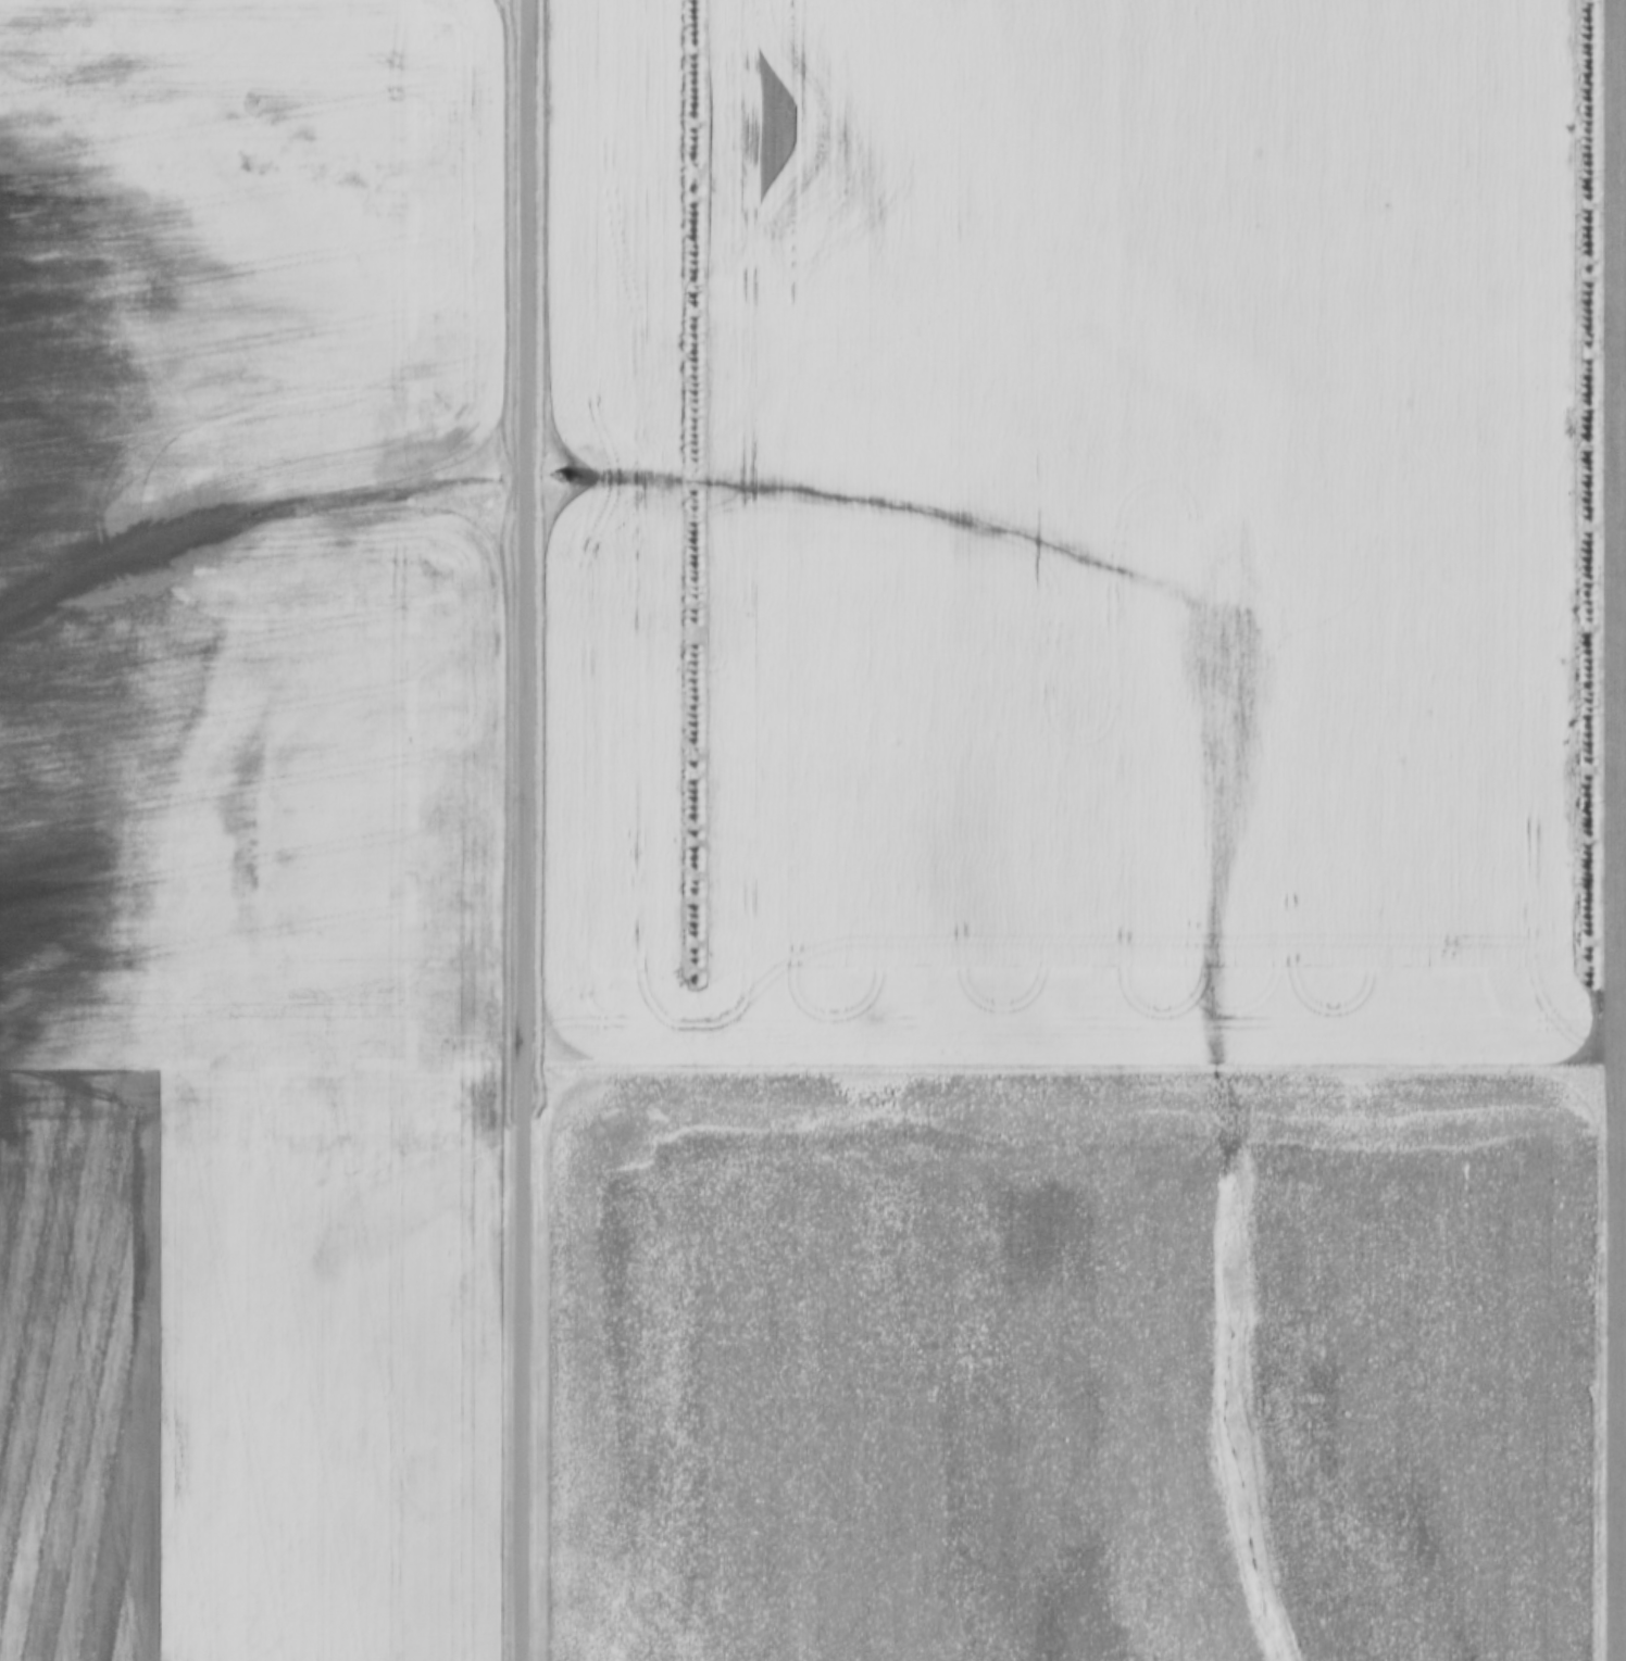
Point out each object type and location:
road: (525, 830)

